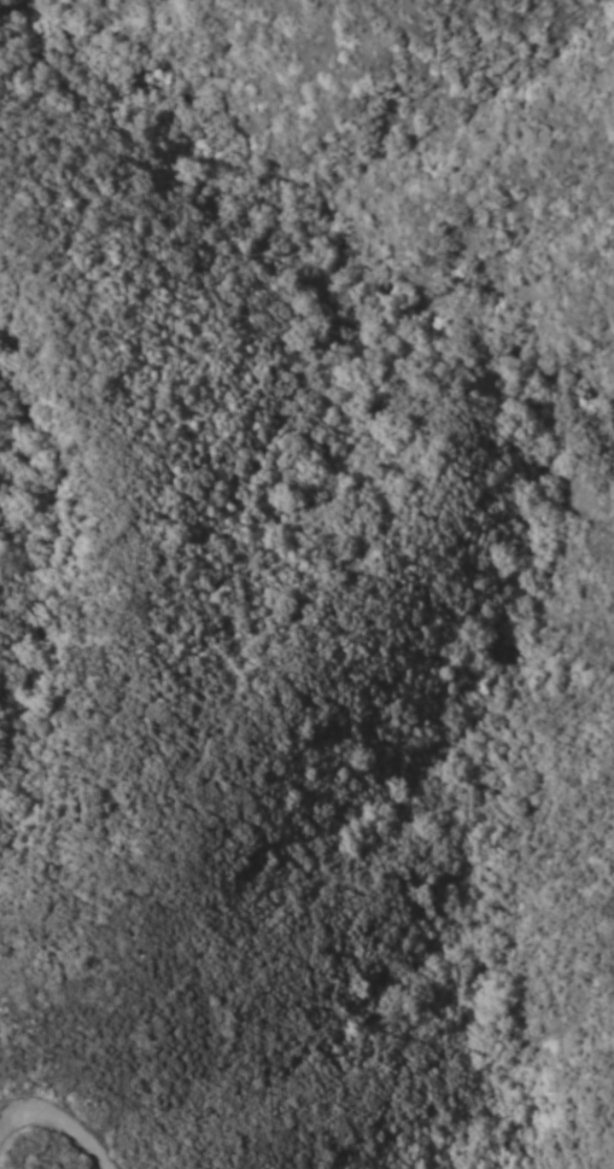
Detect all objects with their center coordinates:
road: (59, 1121)

